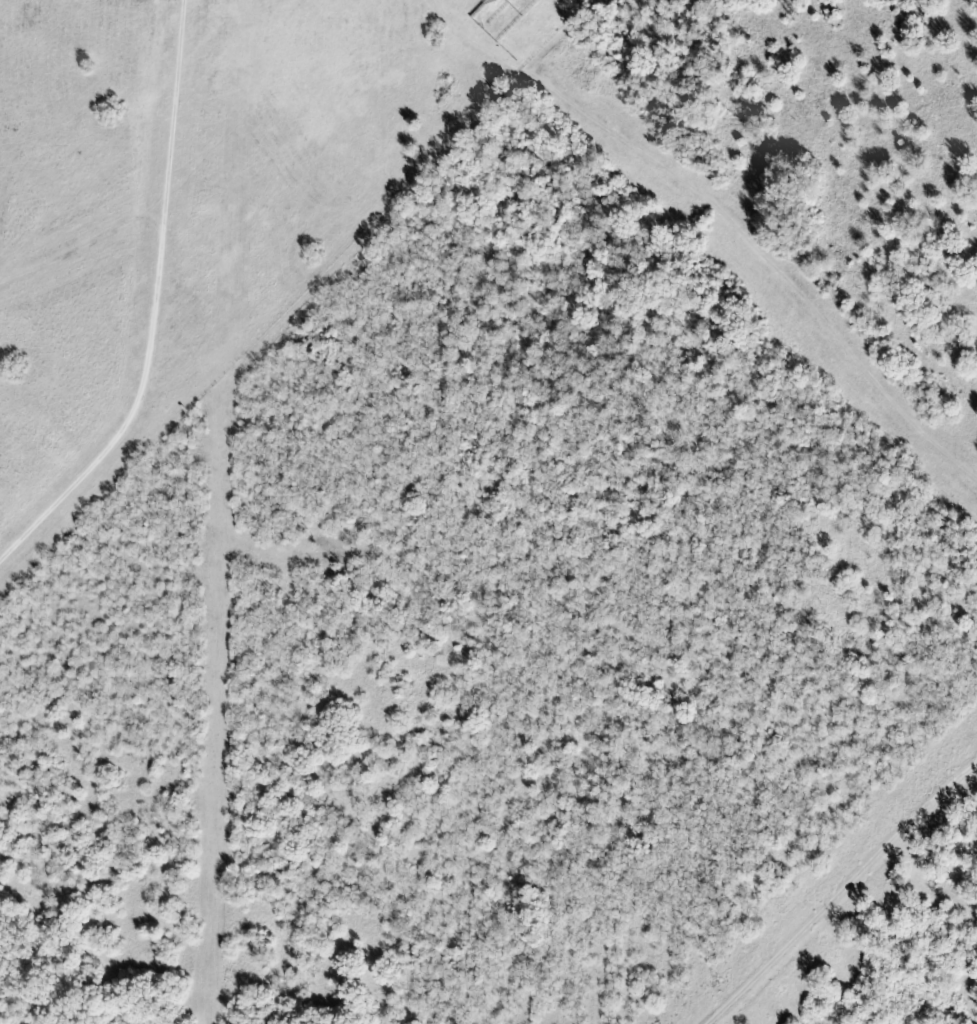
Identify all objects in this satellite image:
road: (155, 306)
road: (837, 893)

